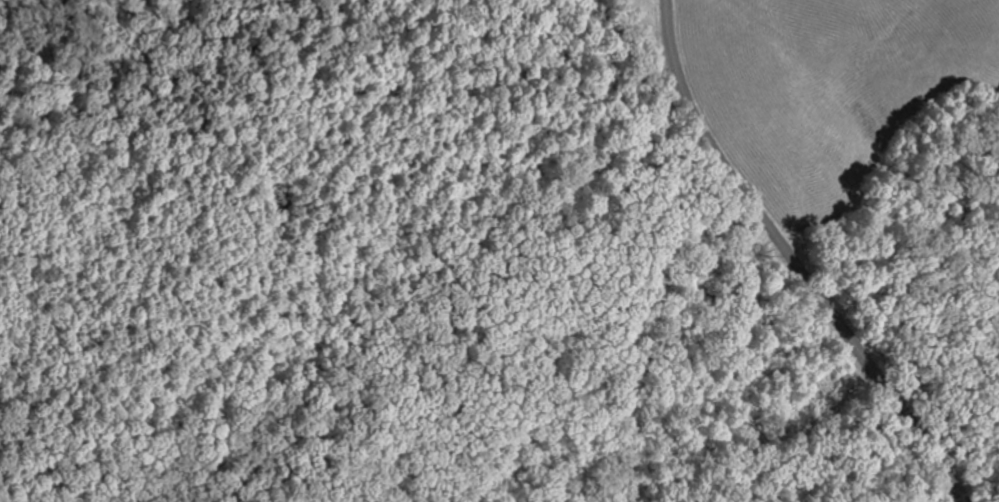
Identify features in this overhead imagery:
crop: (825, 86)
road: (794, 260)

